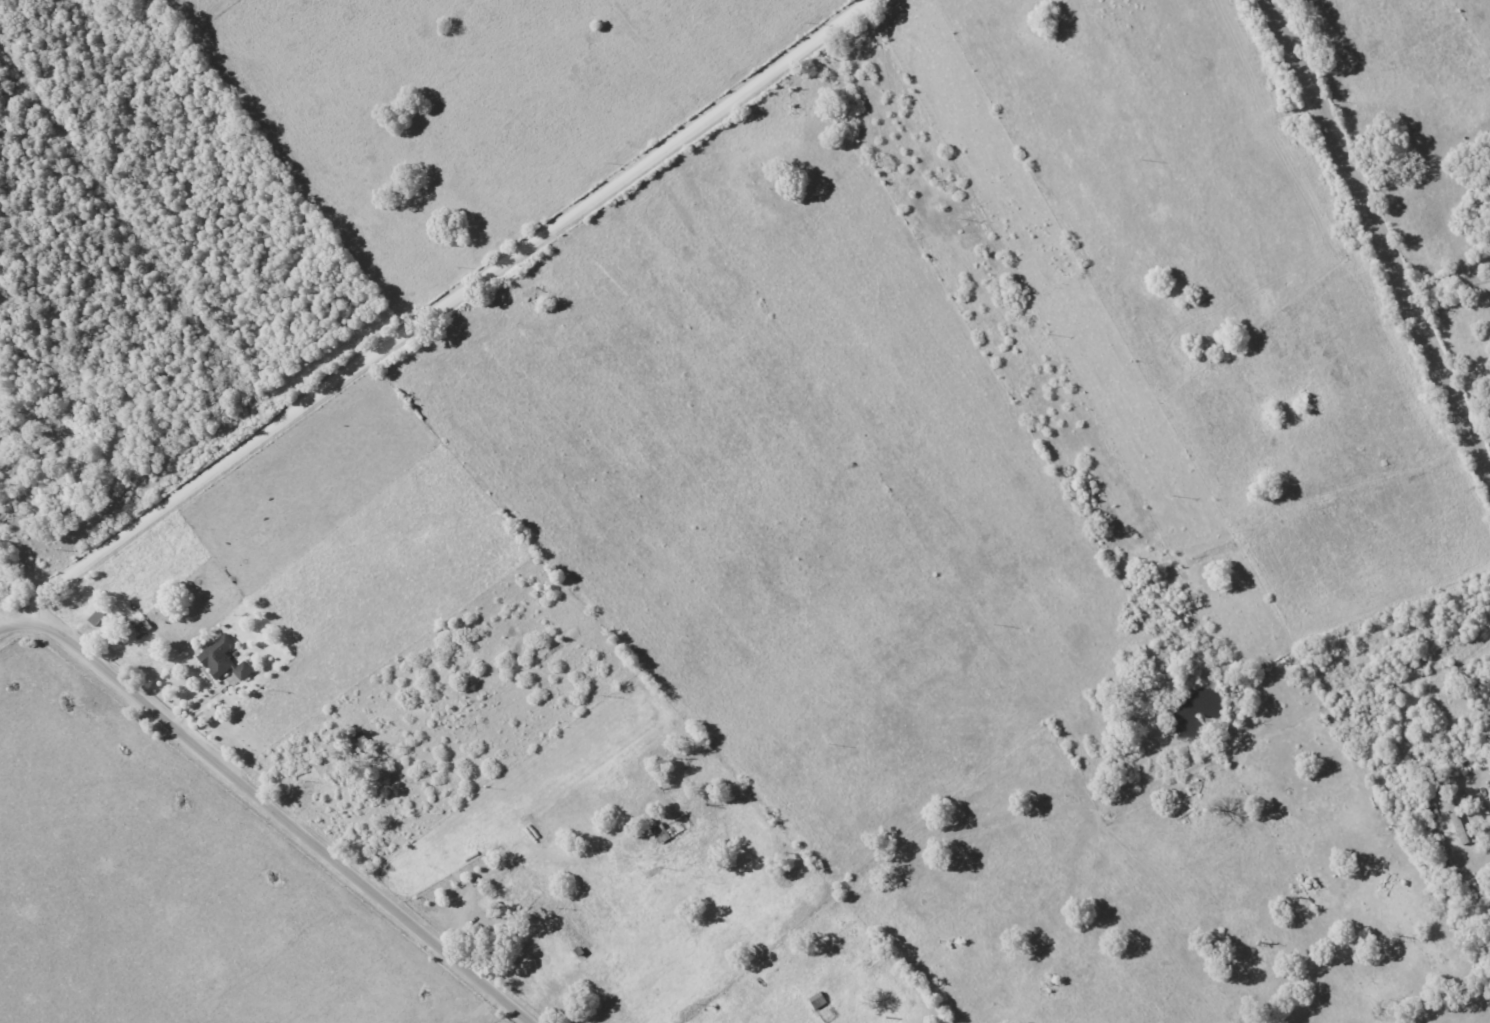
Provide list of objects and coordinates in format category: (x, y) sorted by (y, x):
road: (1381, 231)
road: (451, 302)
road: (6, 620)
building: (144, 628)
building: (218, 657)
building: (243, 671)
road: (273, 803)
building: (661, 834)

